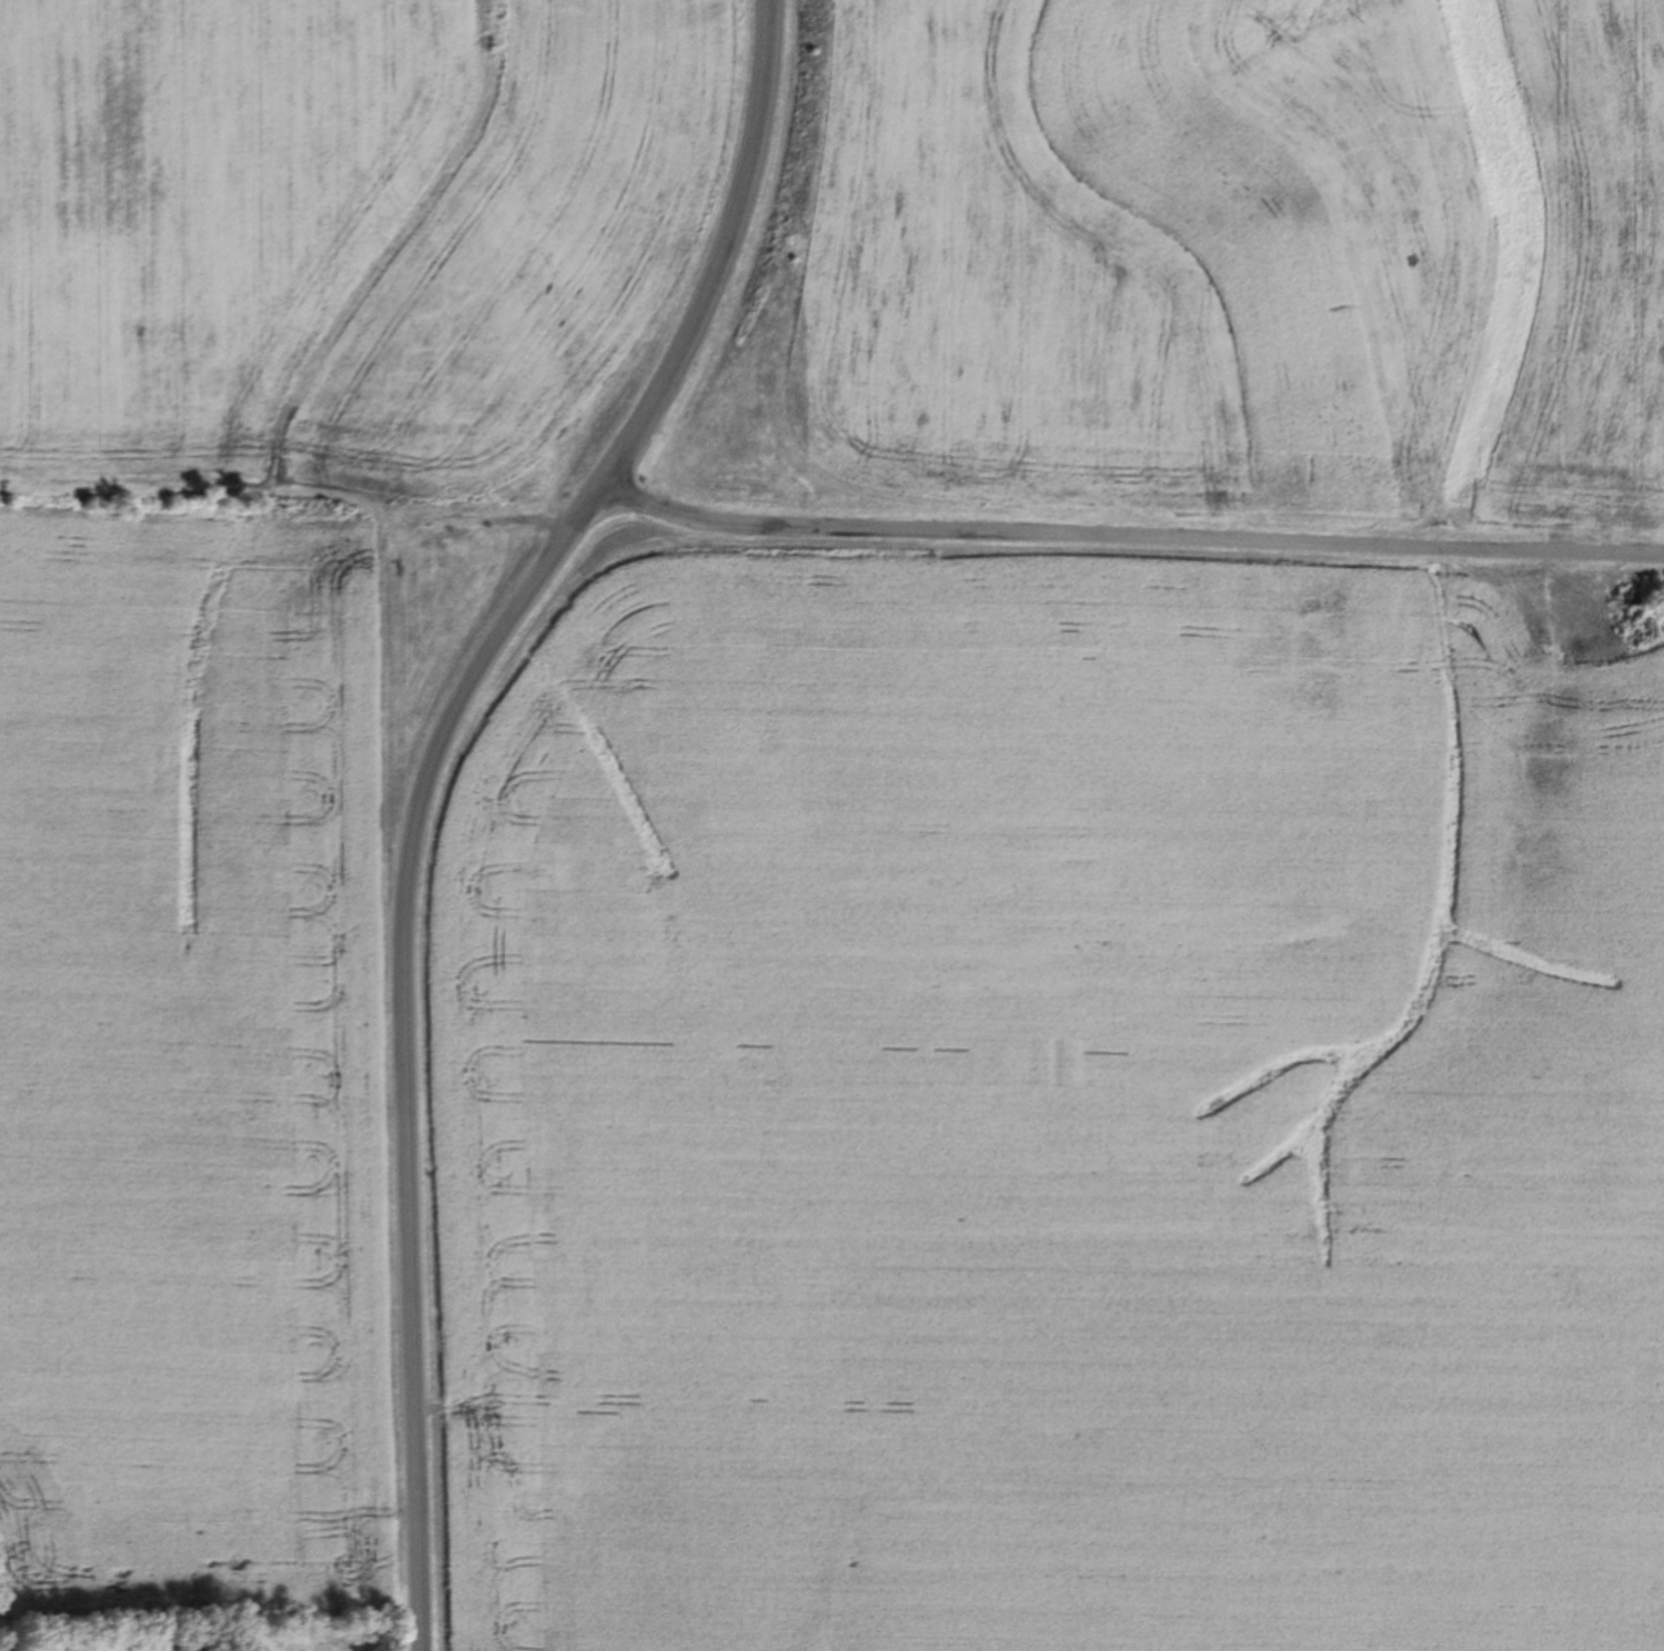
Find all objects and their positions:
road: (705, 307)
road: (1130, 538)
road: (405, 1098)

